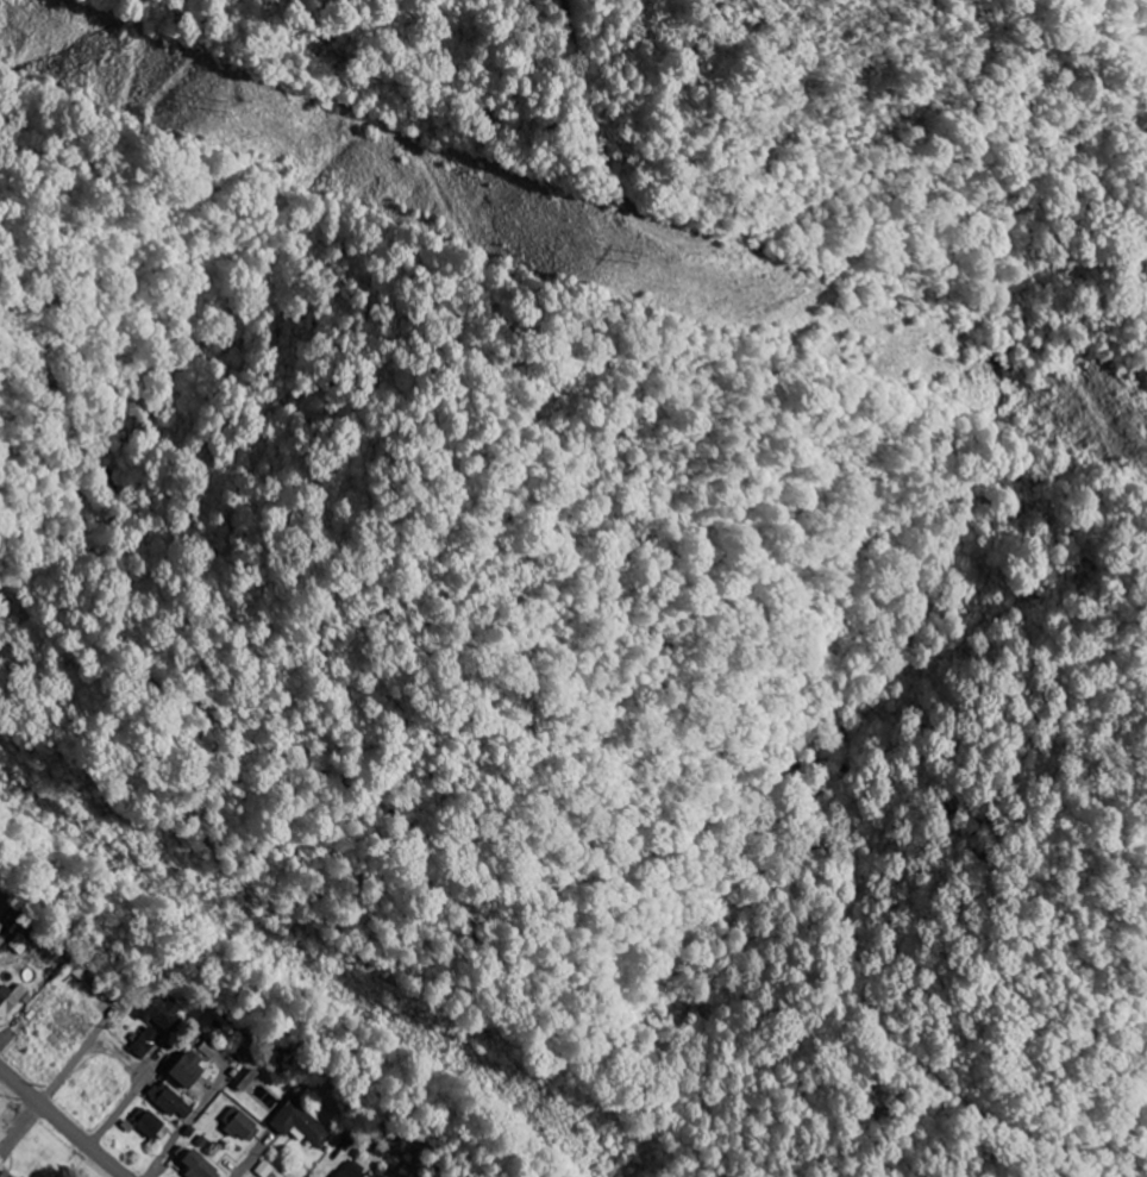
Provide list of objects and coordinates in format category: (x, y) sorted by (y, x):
building: (4, 906)
building: (0, 924)
building: (0, 946)
building: (10, 997)
building: (162, 1012)
road: (4, 1040)
building: (144, 1041)
building: (208, 1050)
road: (70, 1068)
building: (184, 1069)
building: (170, 1103)
road: (119, 1112)
road: (63, 1121)
building: (237, 1122)
building: (300, 1123)
building: (150, 1125)
road: (24, 1126)
road: (161, 1159)
road: (252, 1160)
building: (195, 1165)
building: (264, 1169)
building: (352, 1170)
building: (5, 1173)

